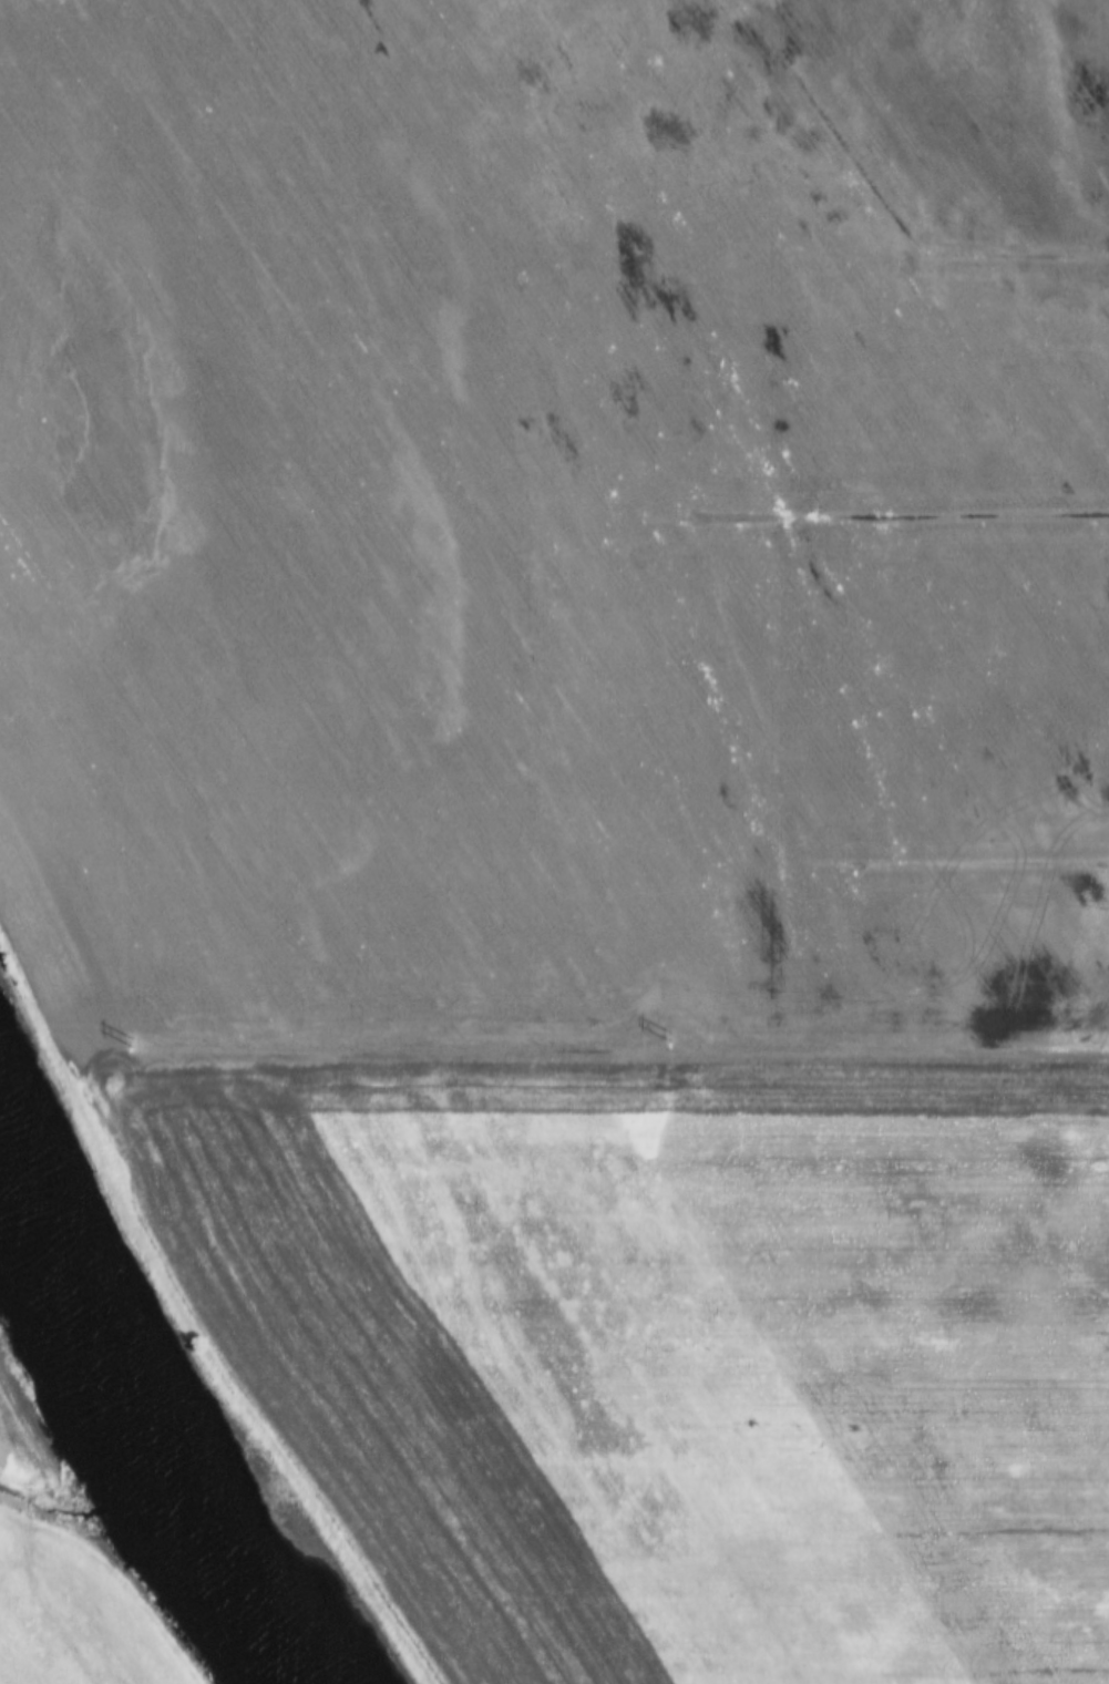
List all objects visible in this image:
river: (148, 1407)
road: (35, 1632)

